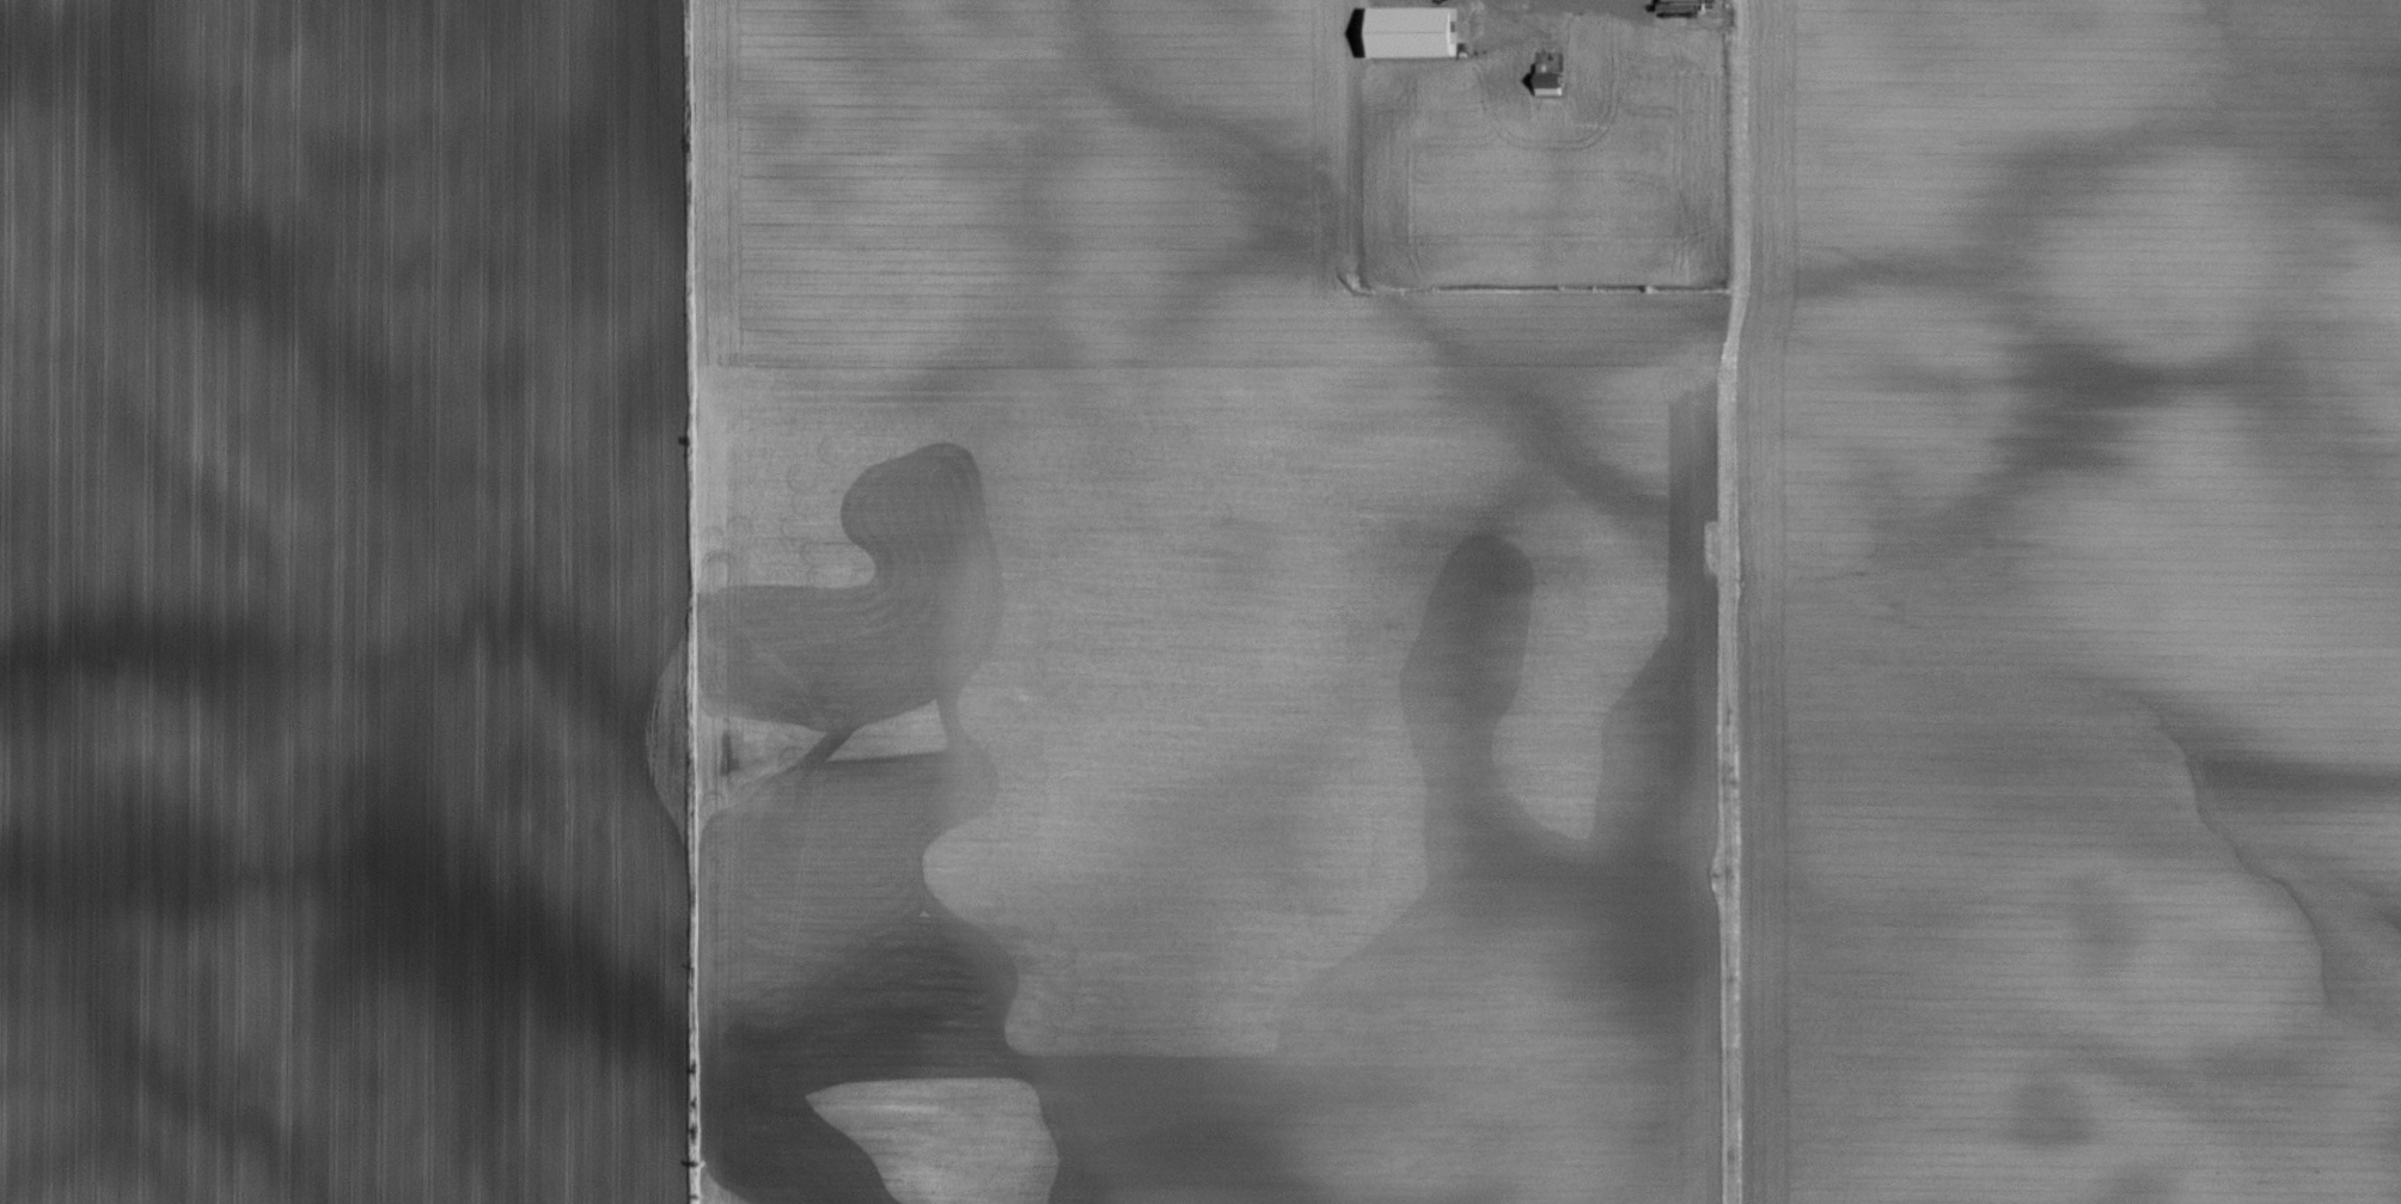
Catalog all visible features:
building: (1681, 1)
road: (1545, 6)
building: (1406, 35)
road: (1733, 744)

